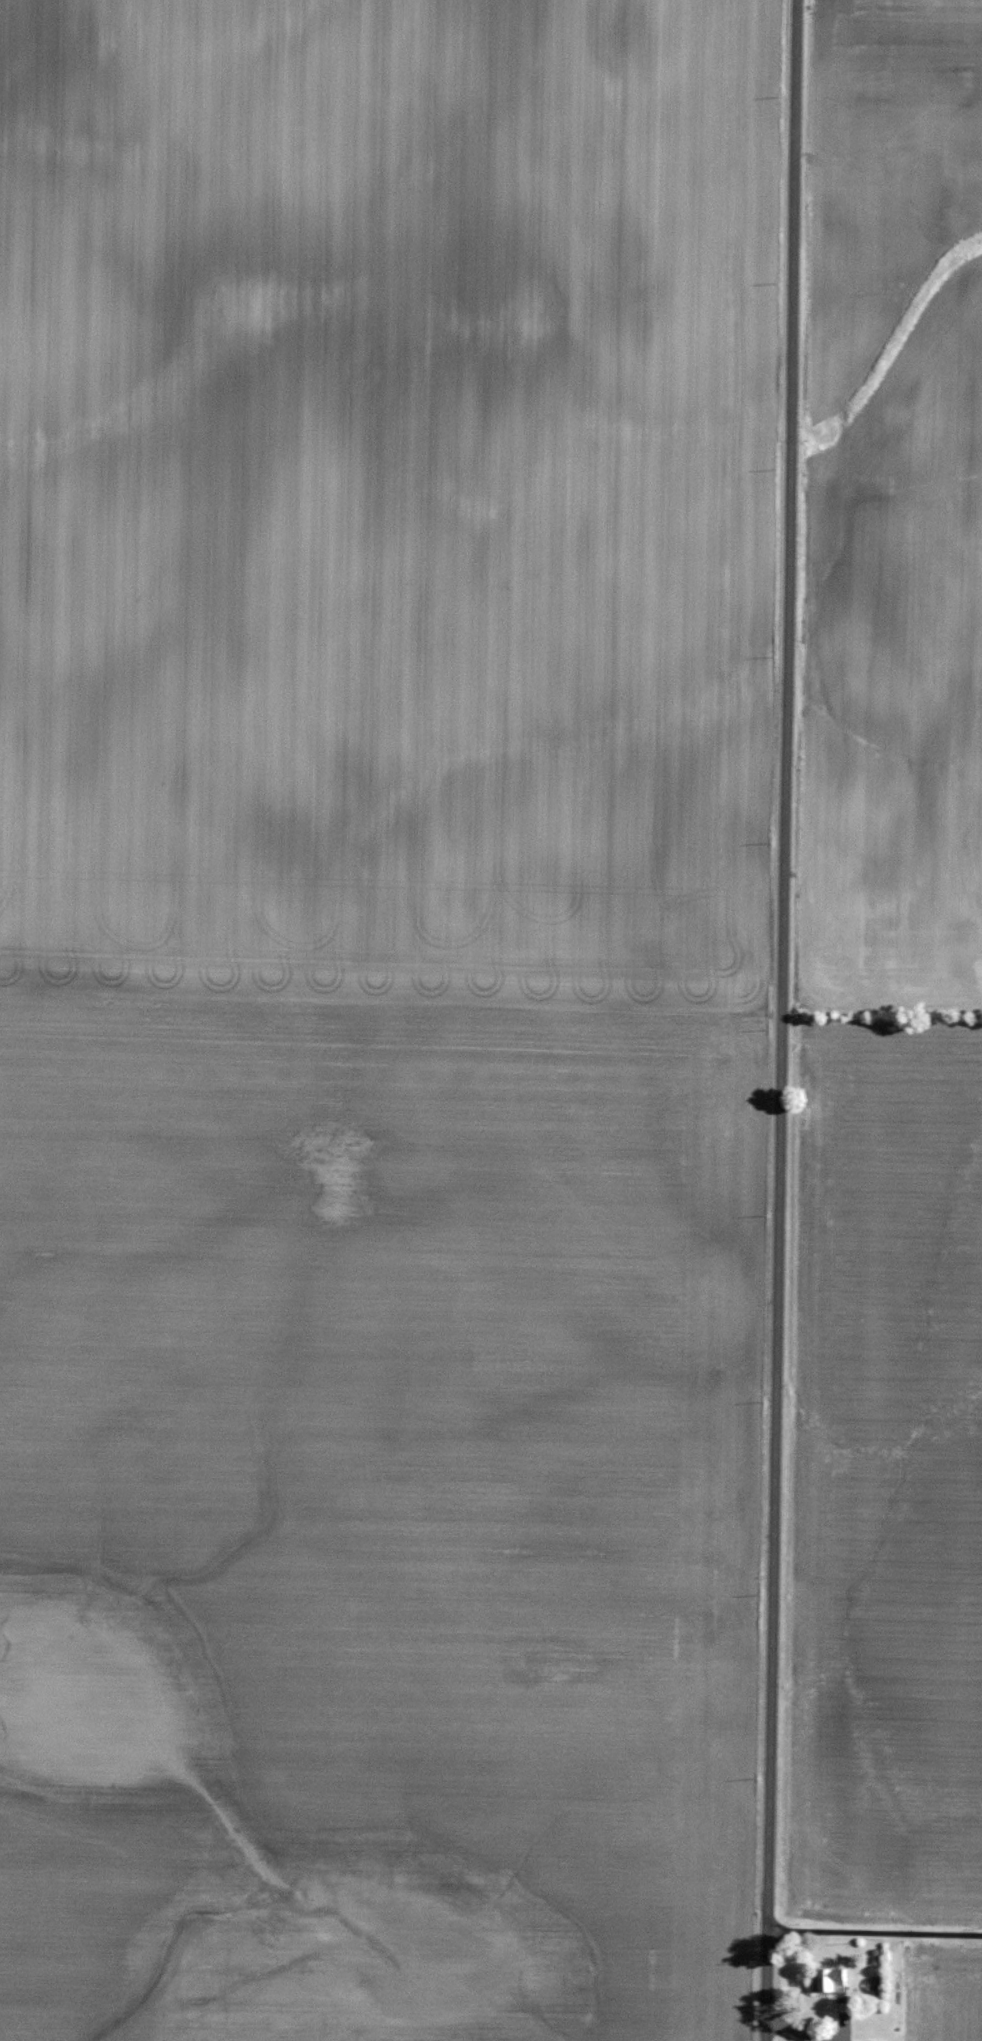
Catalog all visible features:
road: (778, 1020)
road: (873, 1929)
road: (794, 2027)

